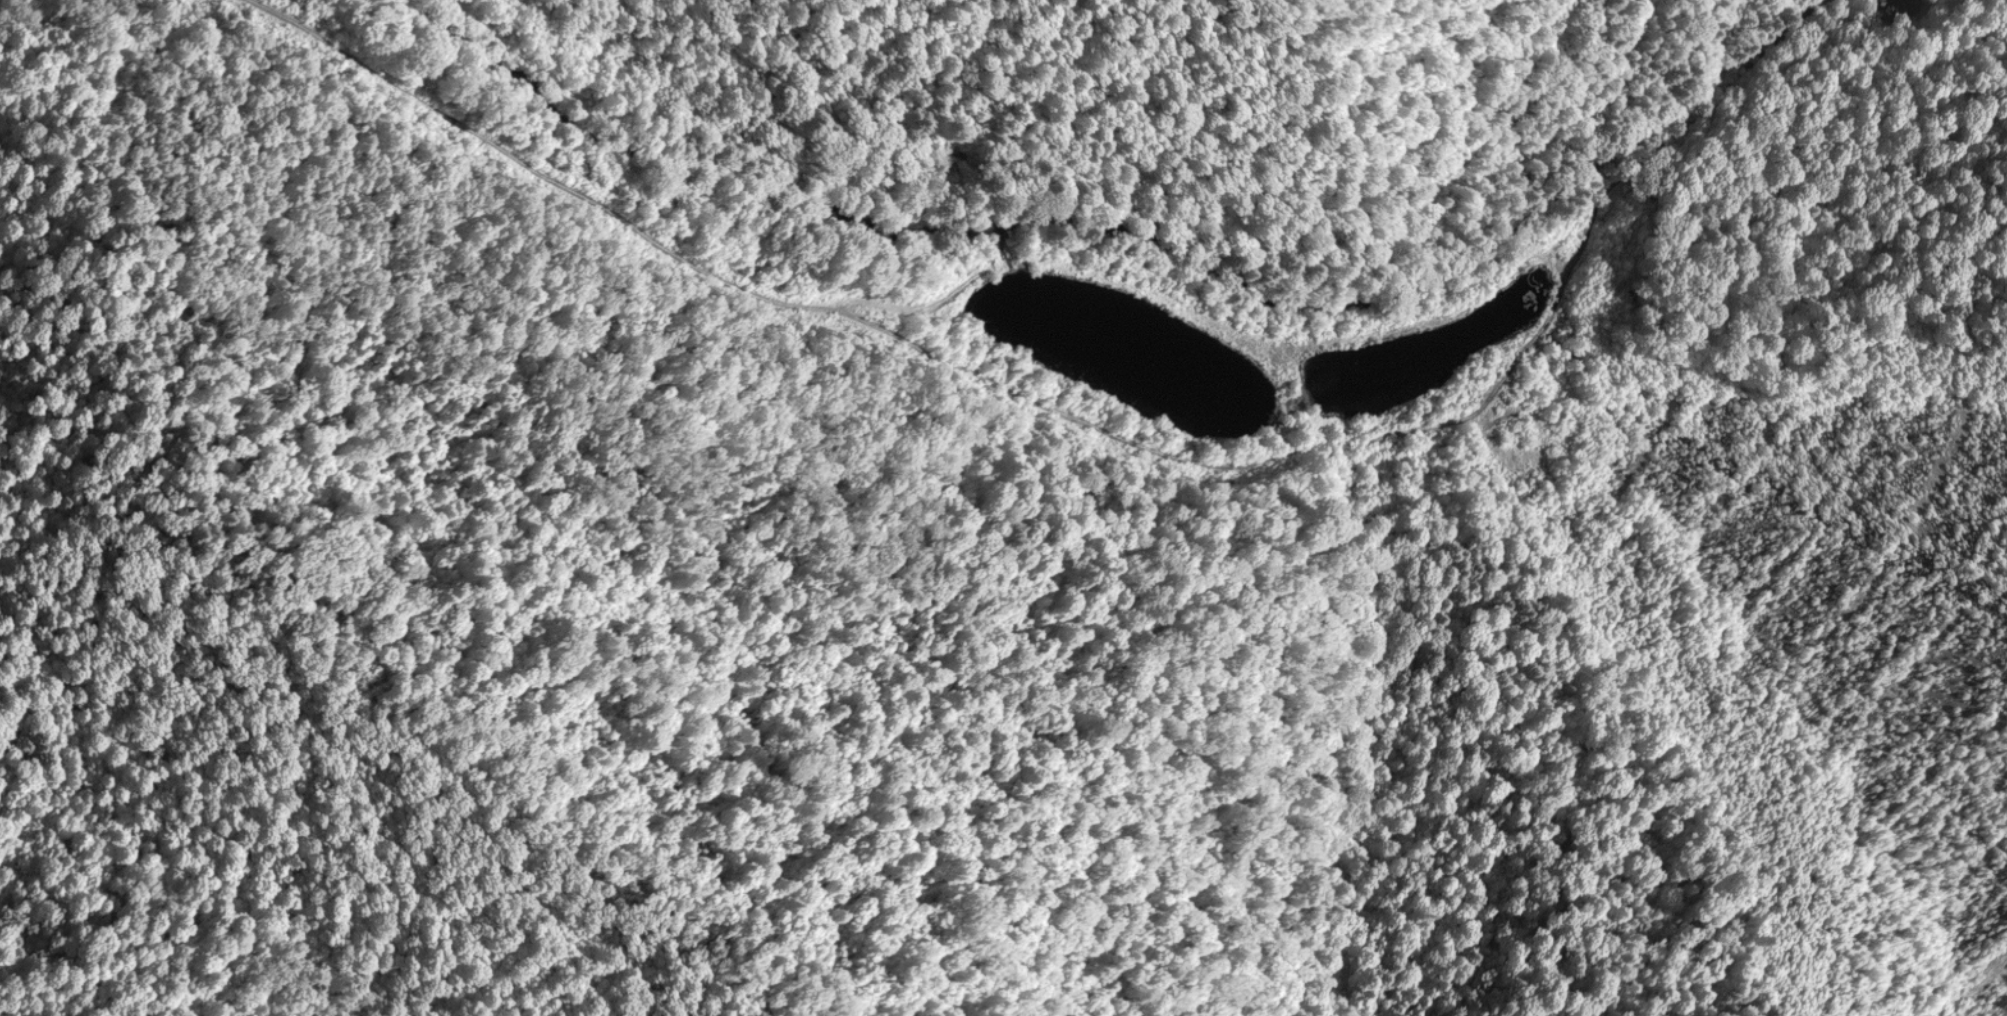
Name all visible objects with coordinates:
road: (1095, 443)
quarry: (1003, 508)

